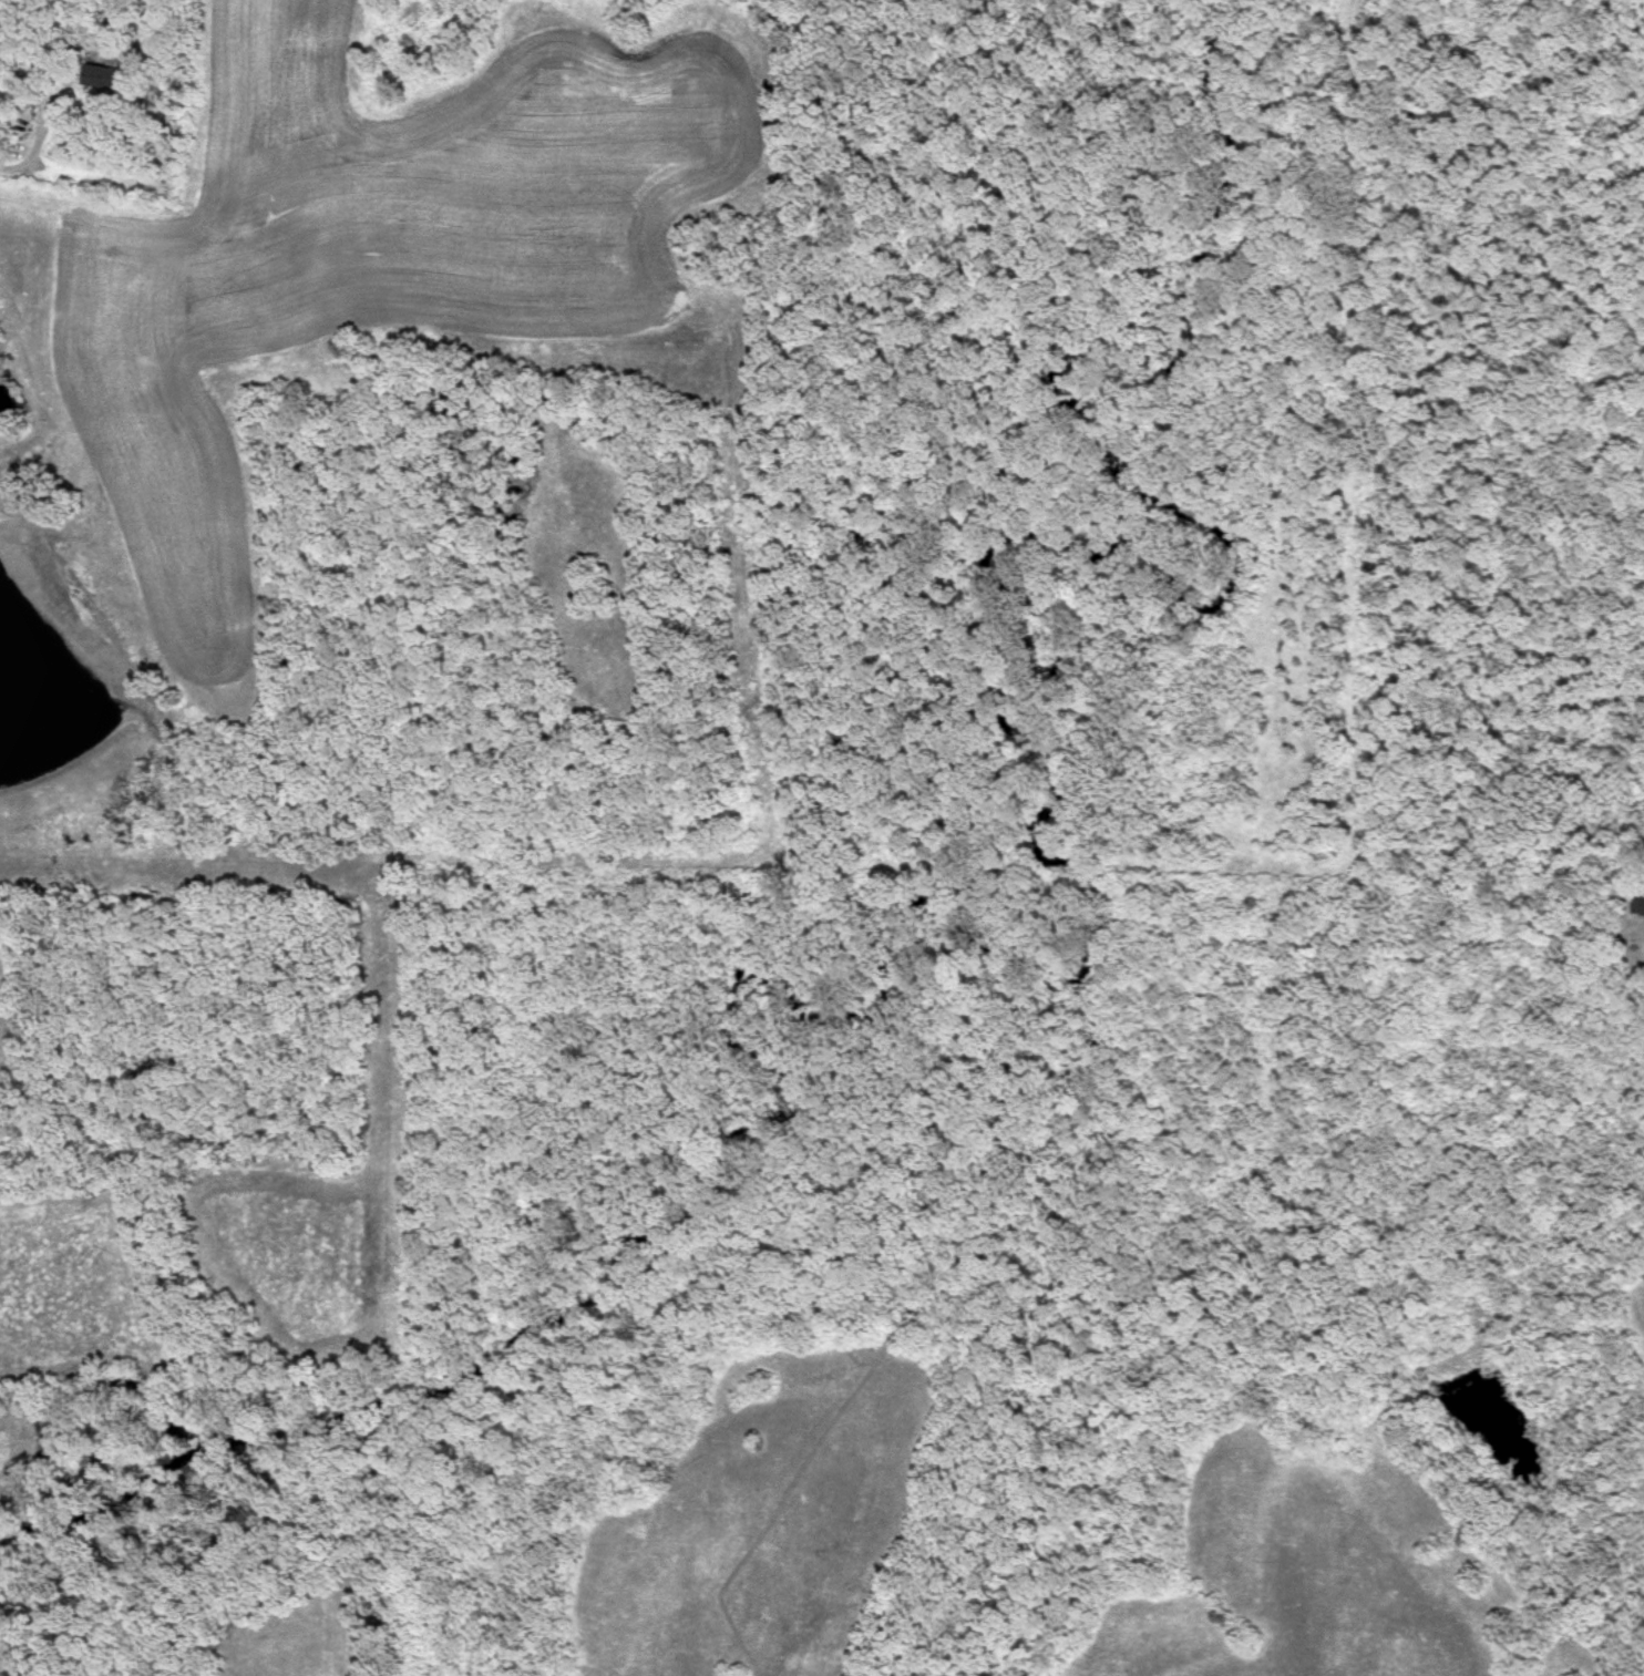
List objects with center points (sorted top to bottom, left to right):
building: (105, 80)
road: (30, 150)
building: (1636, 906)

